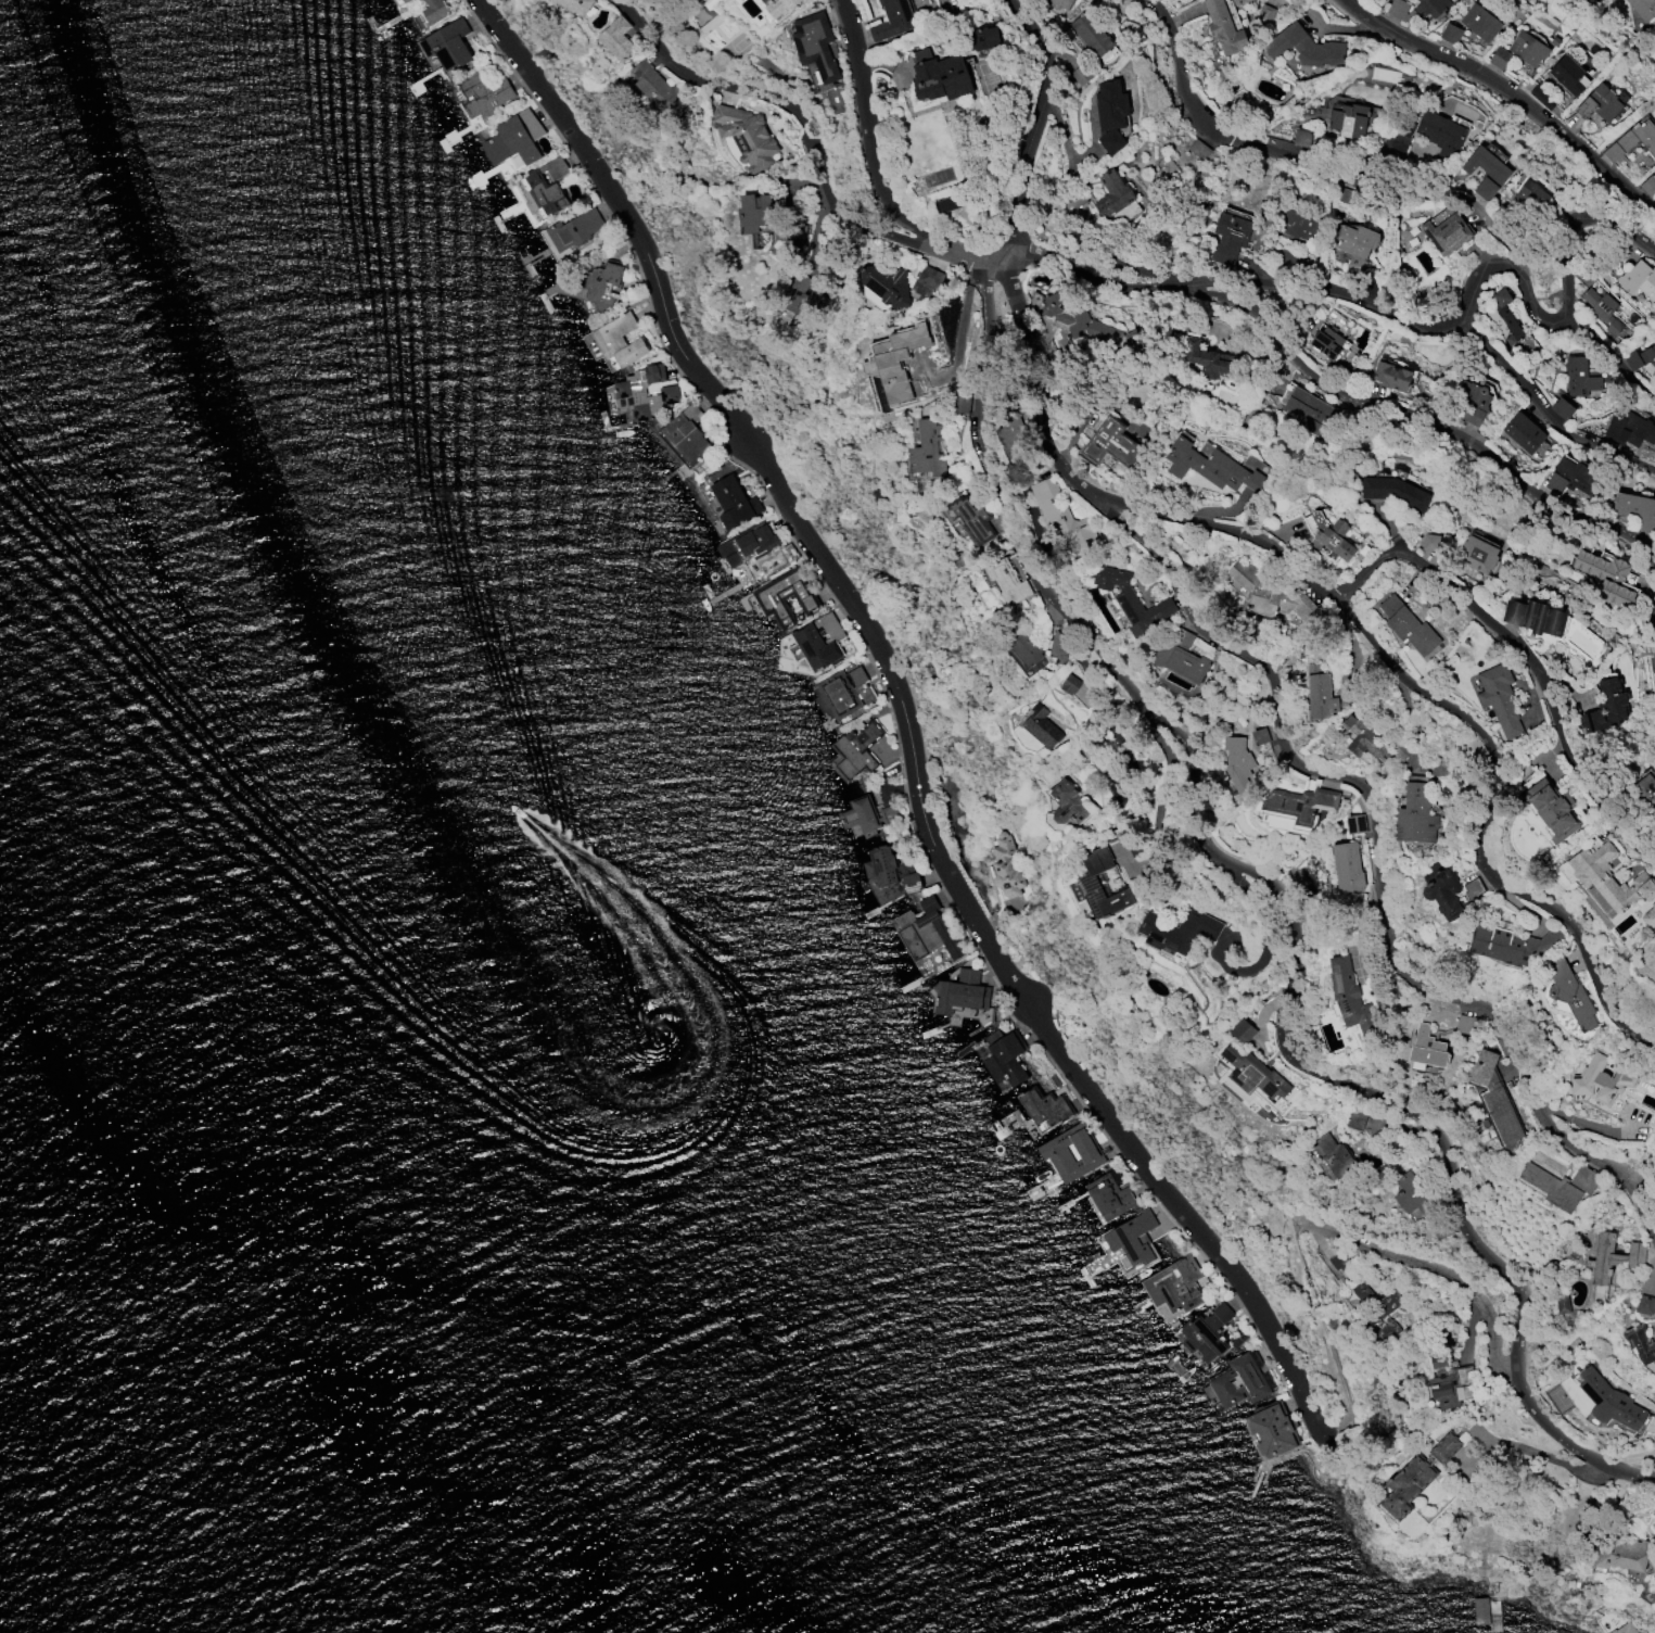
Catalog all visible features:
building: (399, 2)
building: (1057, 3)
building: (944, 4)
building: (576, 5)
building: (777, 7)
building: (1642, 8)
building: (1418, 9)
building: (434, 10)
building: (892, 20)
building: (1480, 23)
building: (1223, 28)
building: (1449, 33)
building: (1090, 35)
building: (983, 38)
building: (616, 39)
building: (447, 45)
building: (814, 46)
building: (1304, 48)
building: (1528, 49)
building: (1499, 58)
building: (1568, 75)
building: (941, 78)
building: (485, 90)
building: (658, 90)
road: (1507, 94)
building: (1599, 103)
road: (787, 107)
building: (1110, 115)
building: (1349, 121)
building: (1439, 131)
building: (743, 137)
building: (513, 138)
building: (1632, 142)
building: (1494, 152)
road: (1307, 163)
road: (877, 168)
building: (1487, 172)
building: (543, 188)
building: (1112, 194)
building: (1530, 194)
building: (947, 203)
building: (755, 212)
building: (1297, 225)
building: (573, 229)
building: (1231, 232)
building: (1446, 233)
building: (1354, 250)
building: (1638, 279)
building: (927, 281)
building: (886, 283)
building: (602, 284)
building: (804, 298)
building: (1603, 311)
building: (1503, 318)
building: (1077, 322)
road: (1406, 324)
building: (619, 340)
building: (1327, 342)
road: (1612, 358)
building: (1640, 358)
building: (1204, 359)
building: (893, 365)
building: (1392, 376)
building: (1579, 377)
building: (652, 389)
building: (1471, 401)
building: (1308, 408)
building: (1561, 408)
road: (1545, 414)
road: (1415, 417)
building: (1635, 425)
building: (1011, 431)
building: (686, 432)
building: (1523, 433)
building: (1111, 444)
building: (927, 451)
building: (1210, 466)
building: (1564, 478)
building: (1393, 491)
building: (733, 502)
building: (1634, 511)
building: (969, 519)
building: (1062, 519)
road: (1249, 536)
building: (1332, 540)
building: (1429, 543)
building: (747, 544)
building: (1476, 555)
building: (1607, 578)
building: (1007, 581)
building: (1270, 595)
building: (784, 597)
building: (1131, 602)
building: (1533, 617)
building: (1408, 625)
building: (816, 643)
road: (1522, 653)
building: (1024, 654)
building: (1181, 658)
building: (1069, 684)
building: (843, 691)
building: (1320, 696)
building: (1499, 698)
building: (1605, 707)
road: (907, 720)
building: (1040, 726)
building: (1370, 739)
building: (855, 749)
building: (1237, 763)
building: (1646, 790)
building: (1066, 802)
building: (1295, 809)
building: (1551, 809)
building: (1415, 814)
building: (866, 815)
building: (1353, 824)
road: (1373, 855)
building: (1005, 868)
building: (1347, 869)
building: (890, 870)
building: (1608, 877)
building: (1087, 883)
building: (1472, 889)
building: (1444, 894)
building: (1599, 902)
road: (1287, 907)
building: (1650, 912)
building: (1176, 931)
building: (926, 932)
building: (1511, 945)
building: (959, 992)
building: (1565, 997)
building: (1349, 1000)
building: (1240, 1030)
building: (1427, 1048)
building: (1005, 1060)
building: (1252, 1074)
building: (1599, 1080)
building: (1492, 1098)
building: (1044, 1107)
building: (1363, 1121)
building: (1654, 1147)
building: (1071, 1153)
building: (1329, 1156)
building: (1559, 1185)
building: (1109, 1195)
building: (1411, 1197)
building: (1132, 1239)
building: (1613, 1257)
building: (1337, 1264)
road: (1441, 1274)
building: (1173, 1286)
building: (1355, 1294)
building: (1561, 1304)
building: (1644, 1304)
building: (1382, 1318)
building: (1206, 1333)
road: (1328, 1335)
building: (1640, 1344)
building: (1240, 1381)
building: (1447, 1383)
building: (1607, 1401)
building: (1270, 1431)
building: (1416, 1474)
building: (1653, 1512)
building: (1620, 1554)
building: (1478, 1611)
building: (1622, 1629)

